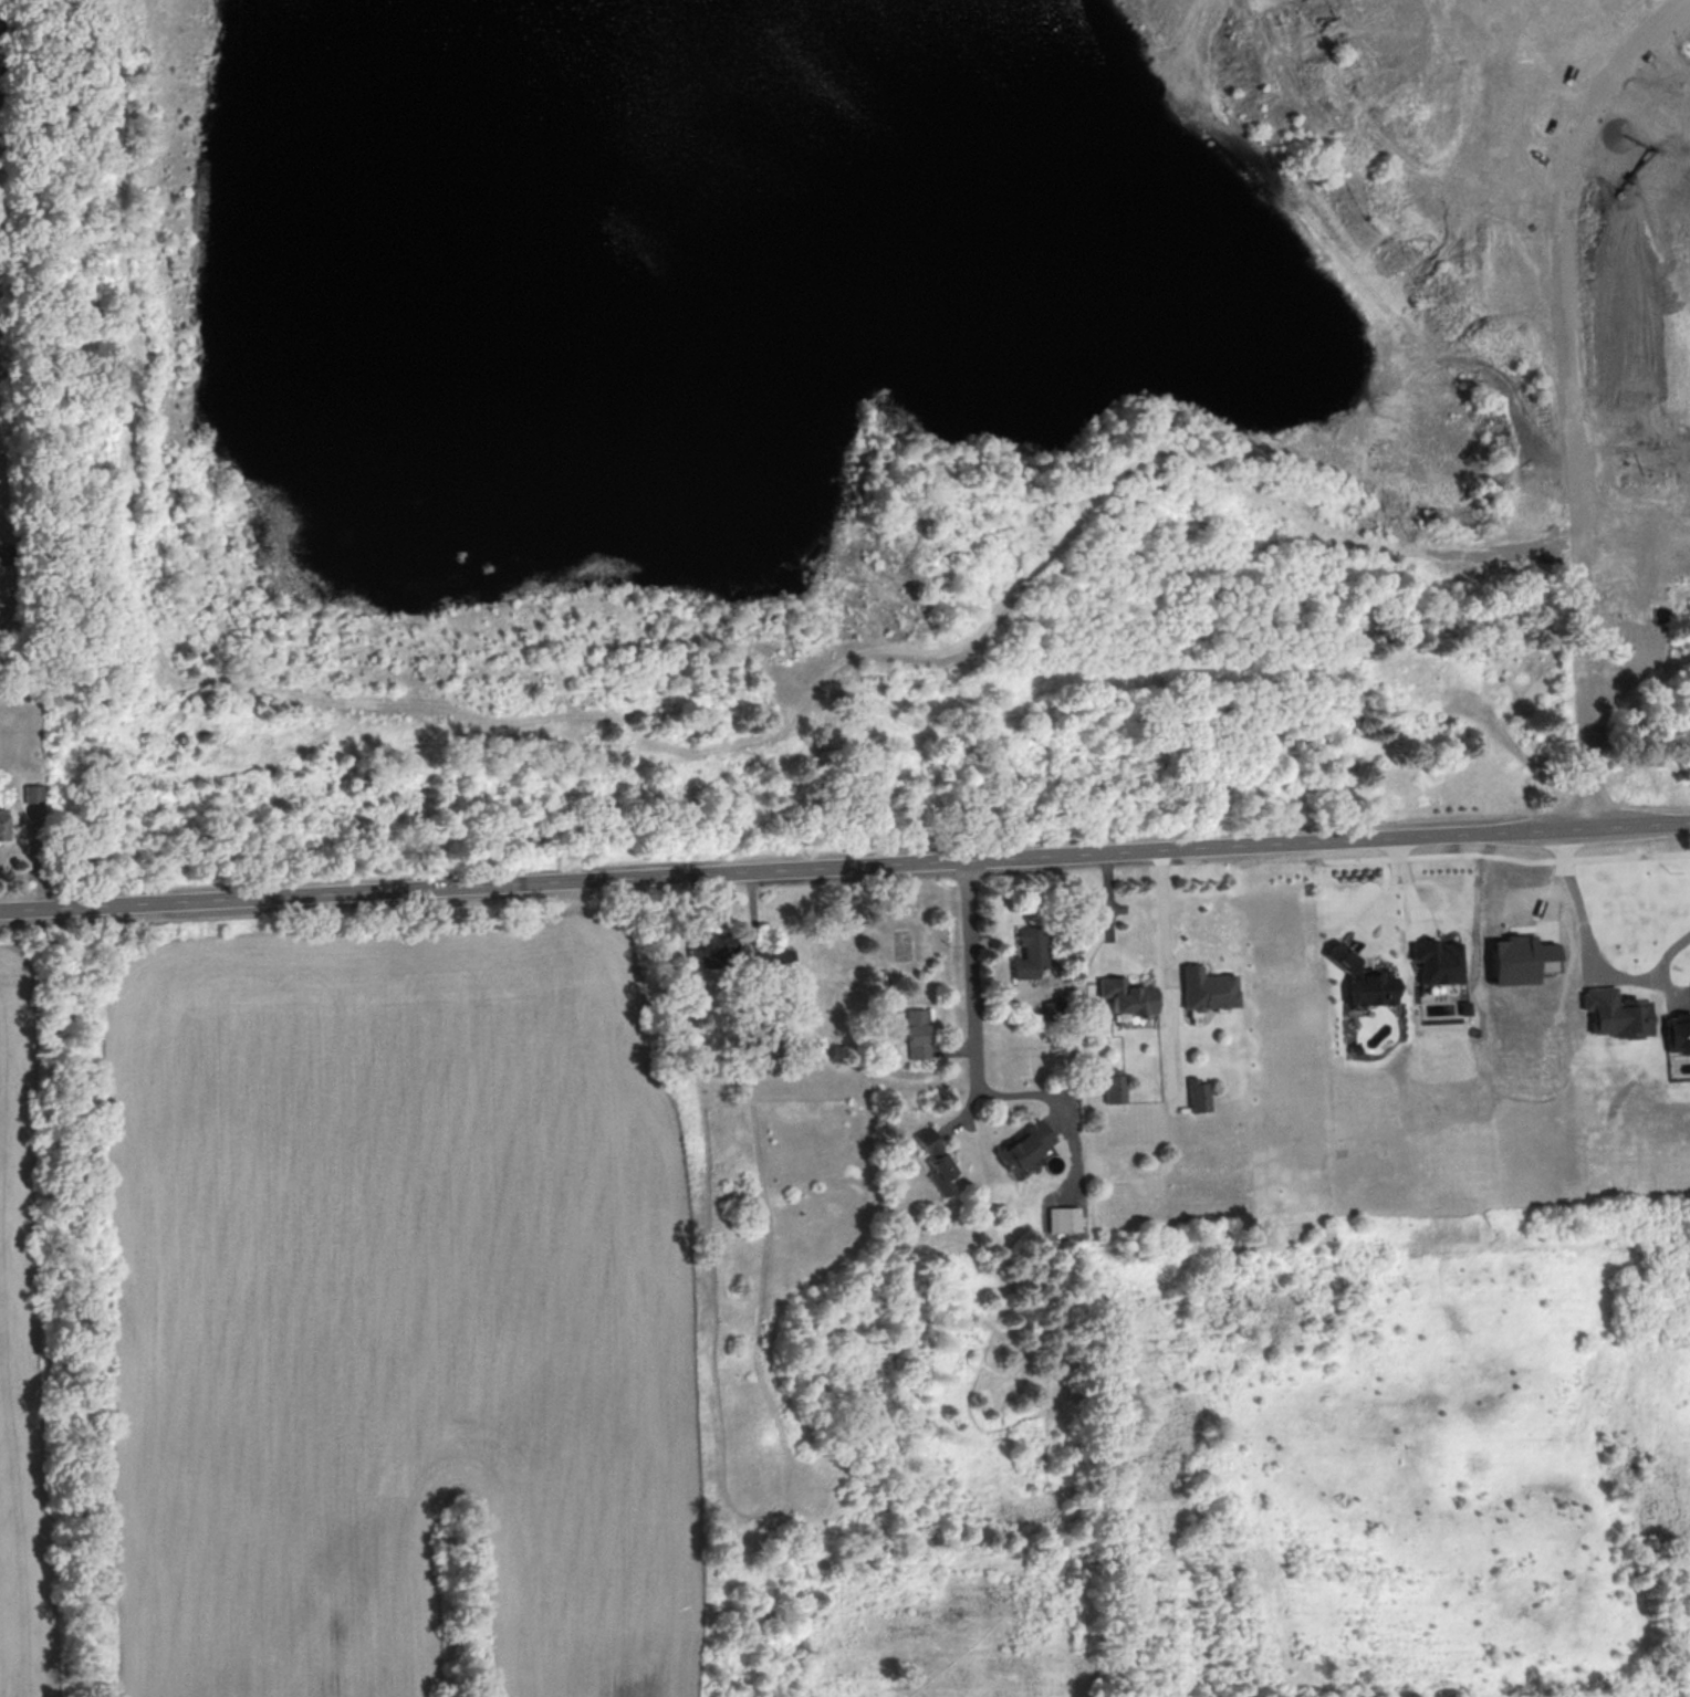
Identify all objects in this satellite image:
road: (1567, 394)
building: (32, 793)
building: (3, 824)
road: (845, 866)
road: (1461, 890)
road: (1162, 913)
road: (1387, 920)
building: (1029, 952)
road: (1590, 953)
road: (1085, 954)
building: (784, 956)
building: (1519, 959)
building: (1437, 961)
road: (971, 978)
building: (1360, 978)
building: (1207, 988)
building: (1125, 995)
building: (1465, 1006)
building: (1616, 1012)
building: (1677, 1031)
building: (916, 1033)
building: (1114, 1083)
building: (1198, 1093)
road: (1050, 1097)
building: (1025, 1145)
building: (936, 1160)
building: (1064, 1218)
crop: (400, 1314)
crop: (22, 1361)
park: (1291, 1402)

